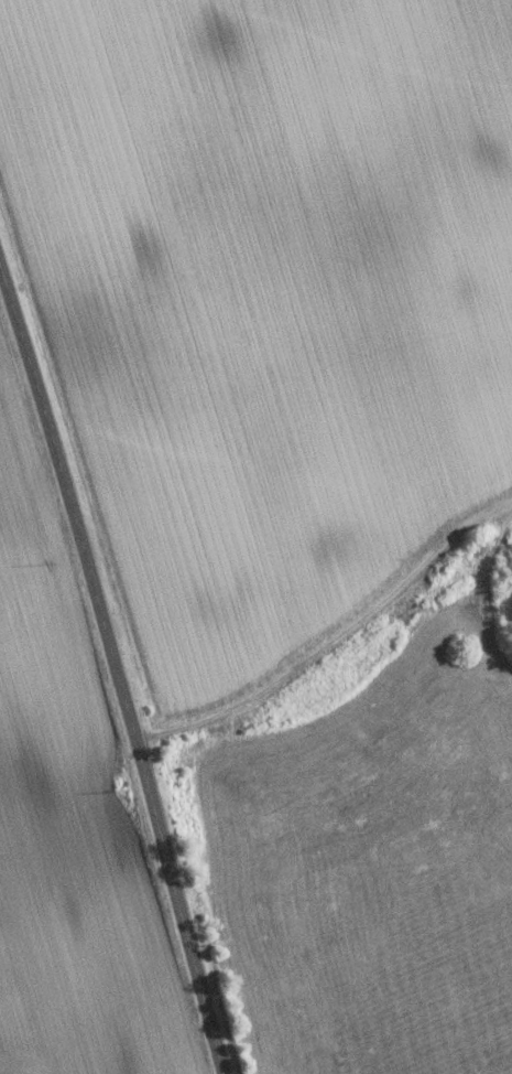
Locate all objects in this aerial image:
road: (334, 648)
road: (113, 668)

